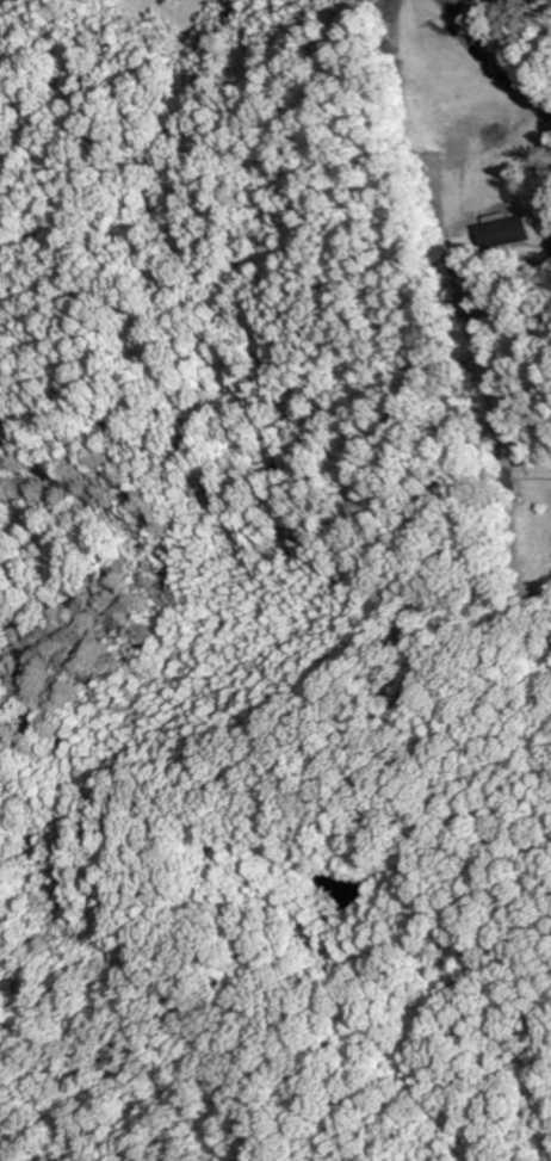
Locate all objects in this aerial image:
road: (496, 56)
building: (509, 233)
road: (478, 303)

